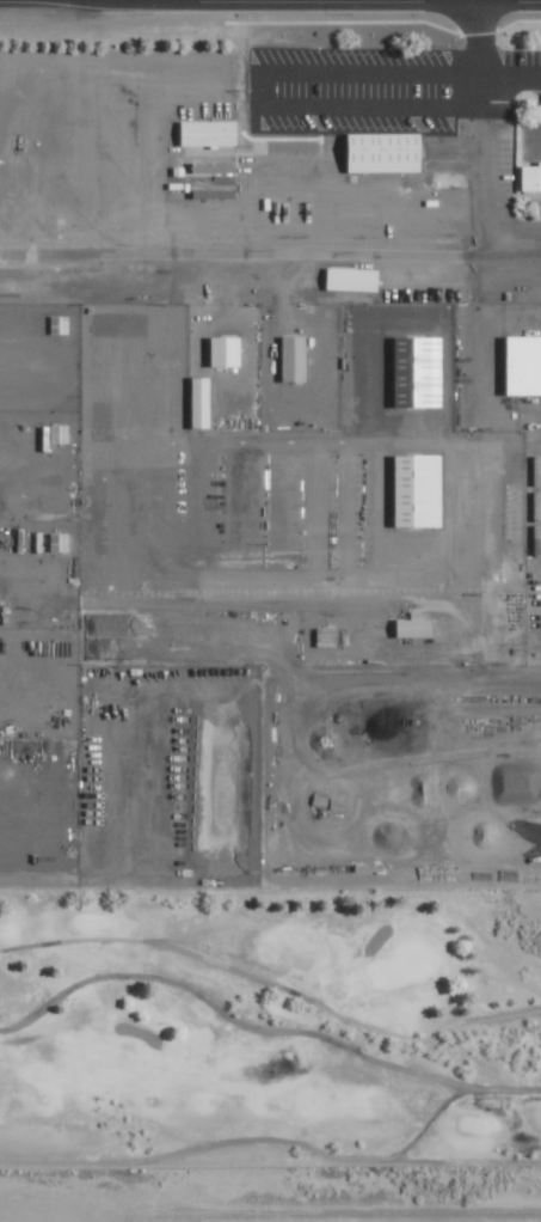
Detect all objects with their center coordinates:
building: (210, 133)
building: (388, 152)
building: (215, 166)
building: (531, 176)
building: (355, 279)
building: (61, 324)
building: (227, 350)
building: (295, 358)
building: (525, 365)
building: (419, 371)
building: (203, 402)
building: (59, 433)
building: (419, 490)
building: (61, 543)
building: (416, 628)
park: (271, 1026)

